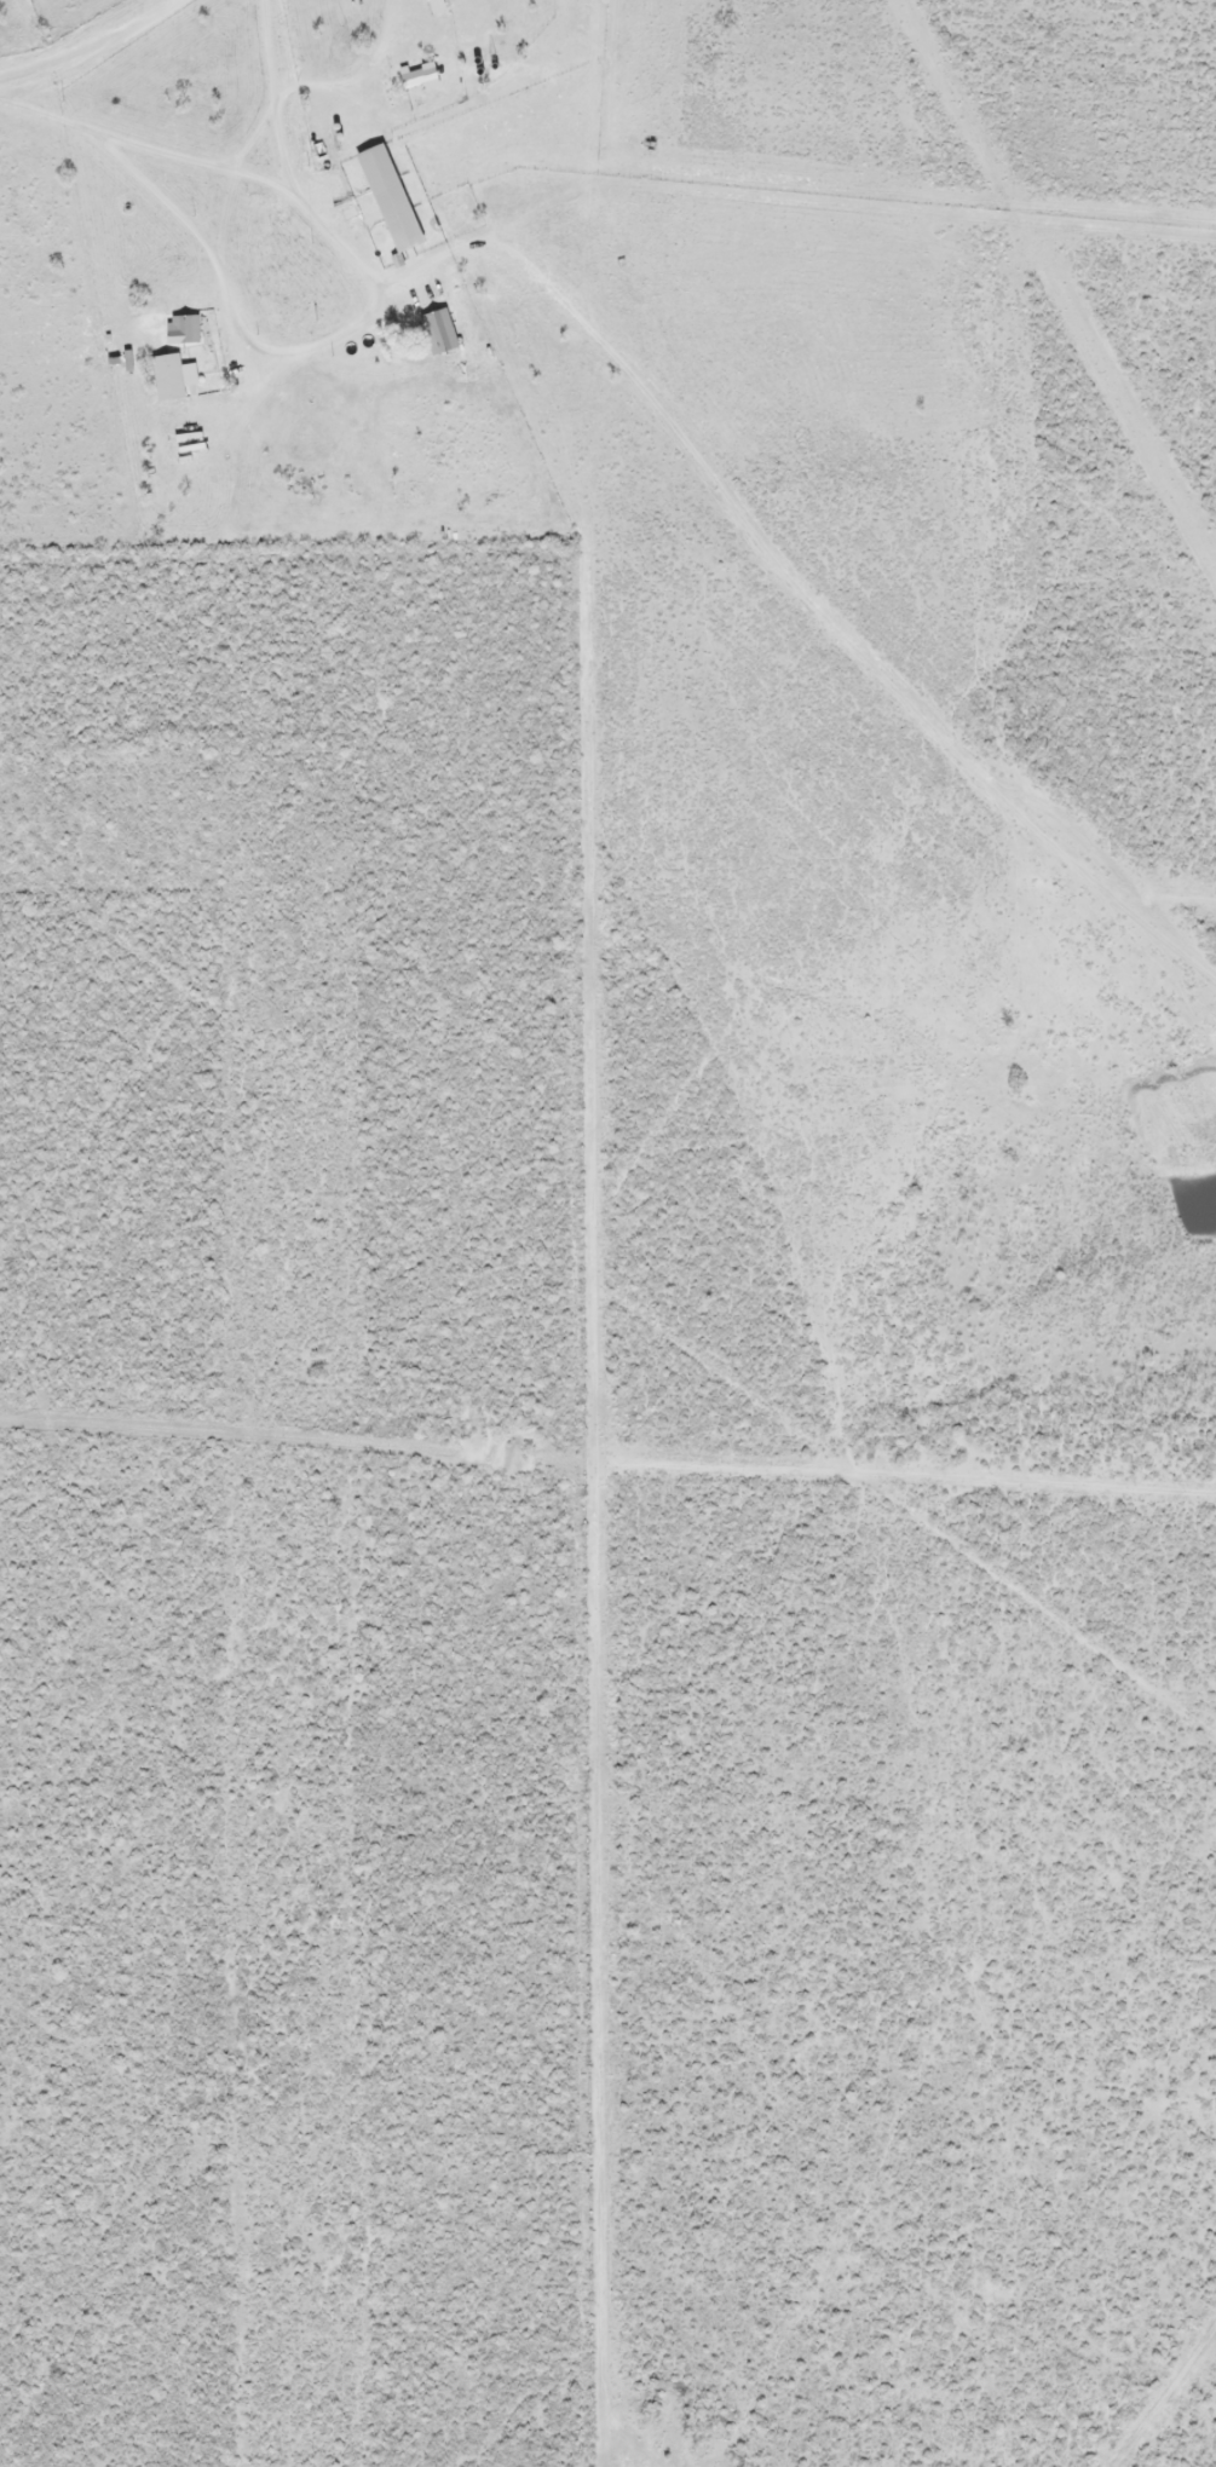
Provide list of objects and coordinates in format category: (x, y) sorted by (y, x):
building: (422, 76)
road: (131, 111)
road: (259, 161)
building: (393, 198)
building: (185, 330)
building: (440, 333)
building: (175, 402)
road: (682, 449)

